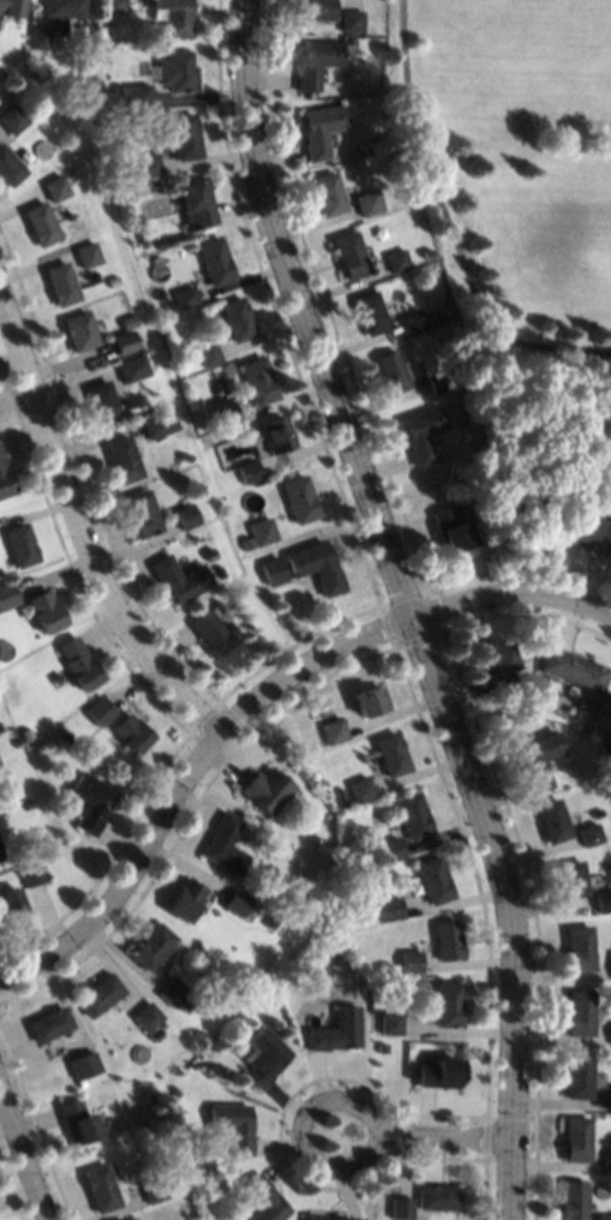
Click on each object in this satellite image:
building: (114, 6)
building: (11, 7)
building: (64, 7)
building: (315, 10)
building: (175, 16)
building: (107, 17)
building: (351, 19)
building: (38, 37)
building: (357, 40)
building: (34, 52)
building: (315, 61)
building: (175, 71)
building: (119, 89)
building: (138, 95)
building: (10, 119)
building: (321, 128)
building: (184, 136)
building: (146, 165)
building: (7, 168)
building: (53, 187)
building: (328, 192)
park: (519, 193)
building: (367, 202)
building: (196, 203)
building: (37, 222)
building: (142, 240)
building: (84, 253)
building: (349, 253)
building: (396, 259)
building: (215, 261)
building: (58, 282)
building: (158, 285)
building: (184, 295)
building: (370, 311)
building: (438, 315)
building: (236, 318)
building: (125, 319)
building: (413, 321)
building: (77, 330)
building: (121, 341)
building: (208, 353)
building: (128, 367)
building: (390, 370)
building: (437, 378)
building: (257, 379)
building: (101, 401)
building: (224, 409)
building: (156, 424)
building: (420, 432)
building: (277, 433)
building: (184, 455)
building: (121, 458)
building: (250, 470)
building: (5, 477)
building: (300, 498)
building: (521, 503)
building: (142, 513)
building: (185, 515)
building: (449, 528)
road: (91, 530)
building: (263, 531)
building: (585, 532)
building: (247, 543)
building: (22, 544)
building: (318, 566)
building: (220, 570)
building: (274, 570)
building: (180, 578)
building: (7, 596)
building: (217, 604)
road: (406, 604)
building: (47, 611)
building: (216, 635)
building: (80, 662)
building: (497, 664)
building: (573, 669)
building: (549, 684)
building: (371, 700)
building: (610, 704)
road: (256, 707)
building: (102, 710)
building: (335, 730)
building: (133, 731)
building: (66, 735)
building: (605, 743)
building: (393, 754)
building: (537, 758)
building: (361, 788)
building: (266, 789)
building: (343, 799)
building: (91, 801)
building: (29, 803)
building: (595, 813)
building: (413, 815)
building: (551, 819)
building: (588, 833)
building: (224, 844)
building: (390, 848)
building: (0, 853)
building: (29, 873)
building: (435, 879)
building: (569, 879)
building: (185, 898)
building: (283, 898)
building: (601, 899)
building: (10, 901)
building: (235, 901)
building: (339, 903)
building: (388, 908)
building: (271, 922)
building: (448, 940)
building: (150, 945)
building: (577, 946)
building: (333, 958)
building: (610, 959)
building: (412, 961)
building: (407, 981)
building: (170, 991)
building: (97, 994)
building: (449, 1004)
building: (185, 1005)
building: (579, 1011)
building: (145, 1016)
building: (391, 1022)
building: (48, 1023)
building: (339, 1030)
building: (150, 1034)
building: (610, 1034)
building: (383, 1046)
building: (265, 1055)
building: (82, 1064)
building: (205, 1066)
building: (439, 1072)
building: (576, 1075)
building: (80, 1081)
building: (104, 1087)
building: (173, 1090)
building: (609, 1095)
building: (74, 1122)
building: (230, 1125)
road: (300, 1134)
road: (453, 1136)
building: (575, 1138)
road: (28, 1152)
building: (606, 1160)
building: (211, 1184)
building: (98, 1188)
building: (151, 1190)
building: (436, 1196)
building: (571, 1198)
building: (263, 1200)
building: (400, 1207)
building: (321, 1216)
building: (603, 1216)

